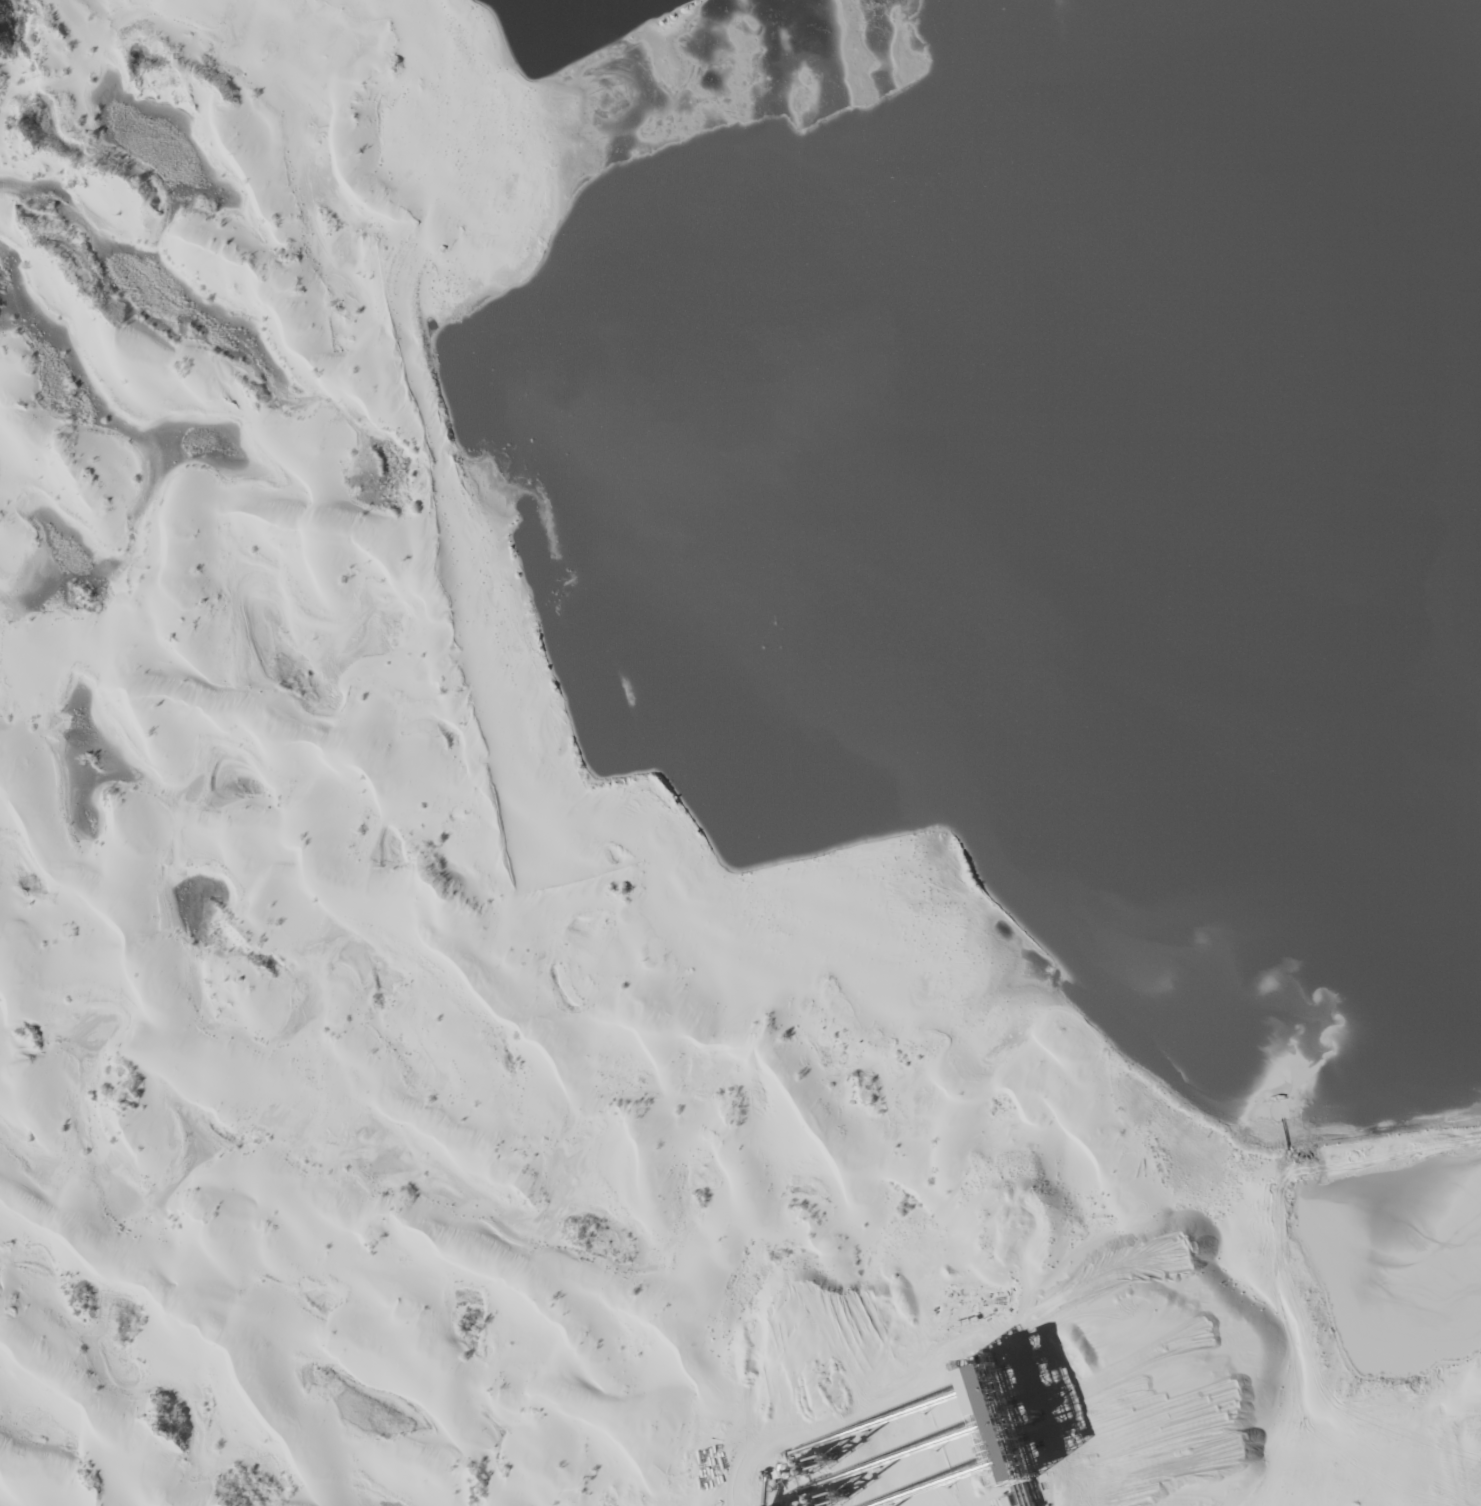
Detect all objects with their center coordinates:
building: (1024, 1404)

